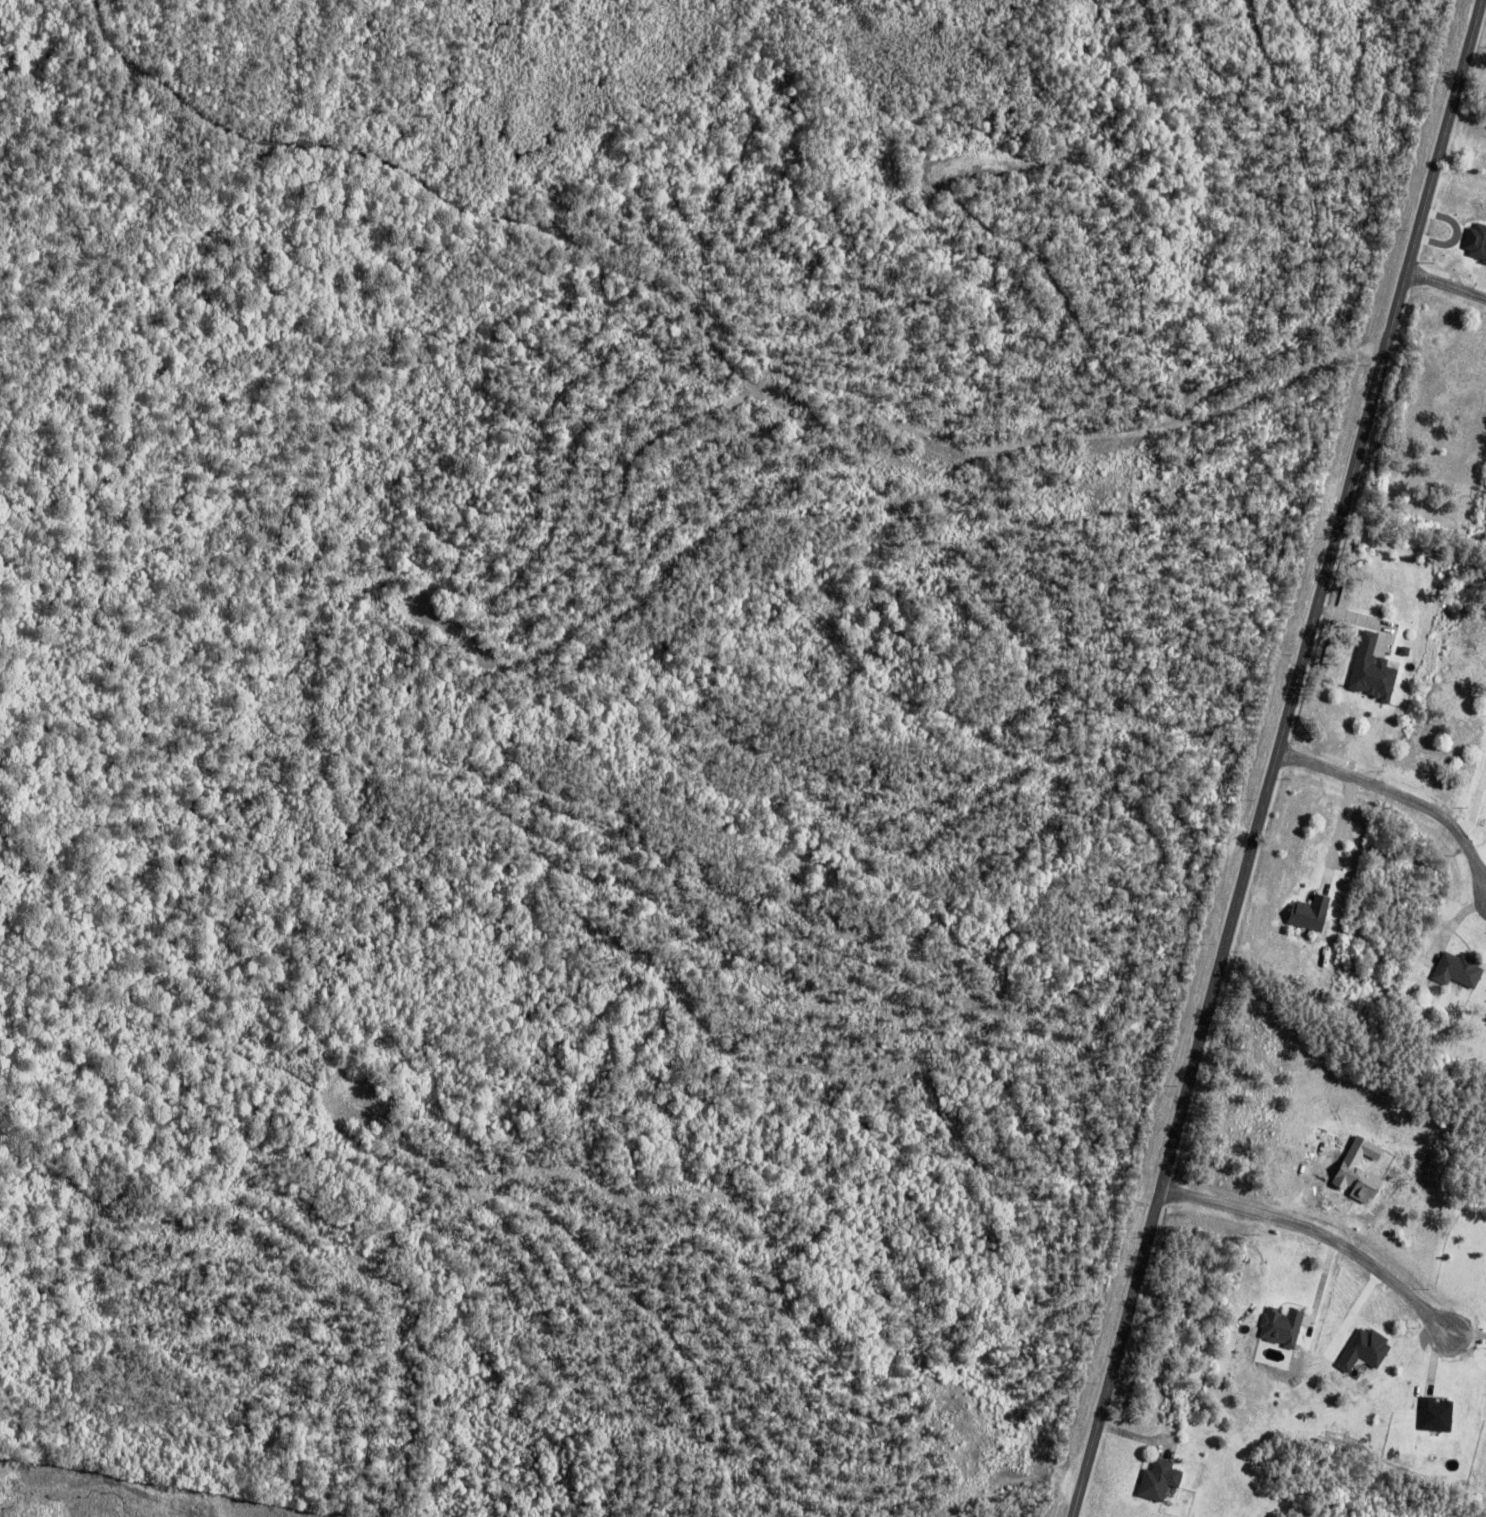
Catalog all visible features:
road: (1448, 285)
building: (1375, 669)
road: (1276, 758)
road: (1398, 794)
building: (1313, 913)
building: (1460, 970)
road: (1318, 1233)
road: (1321, 1285)
road: (1354, 1313)
building: (1285, 1325)
road: (1467, 1332)
building: (1368, 1349)
road: (1434, 1361)
building: (1438, 1414)
building: (1163, 1479)

